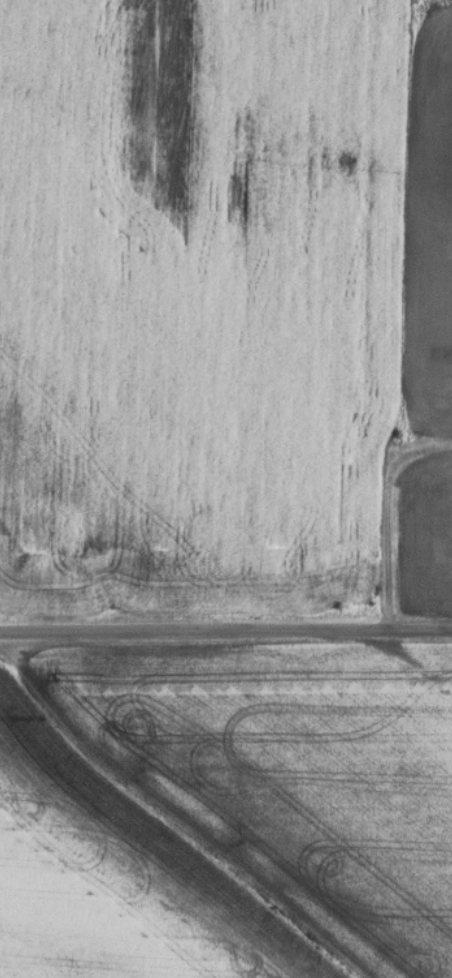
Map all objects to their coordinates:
road: (226, 634)

